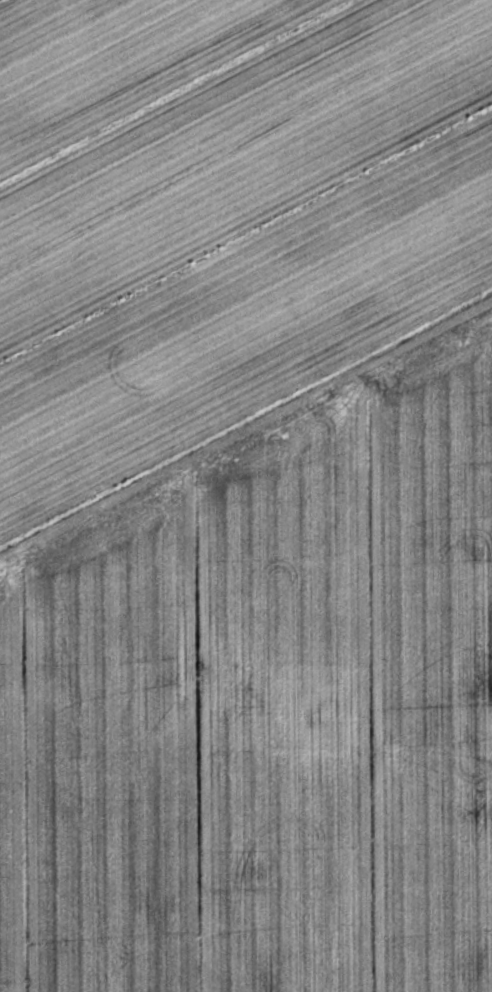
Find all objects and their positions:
crop: (246, 496)

